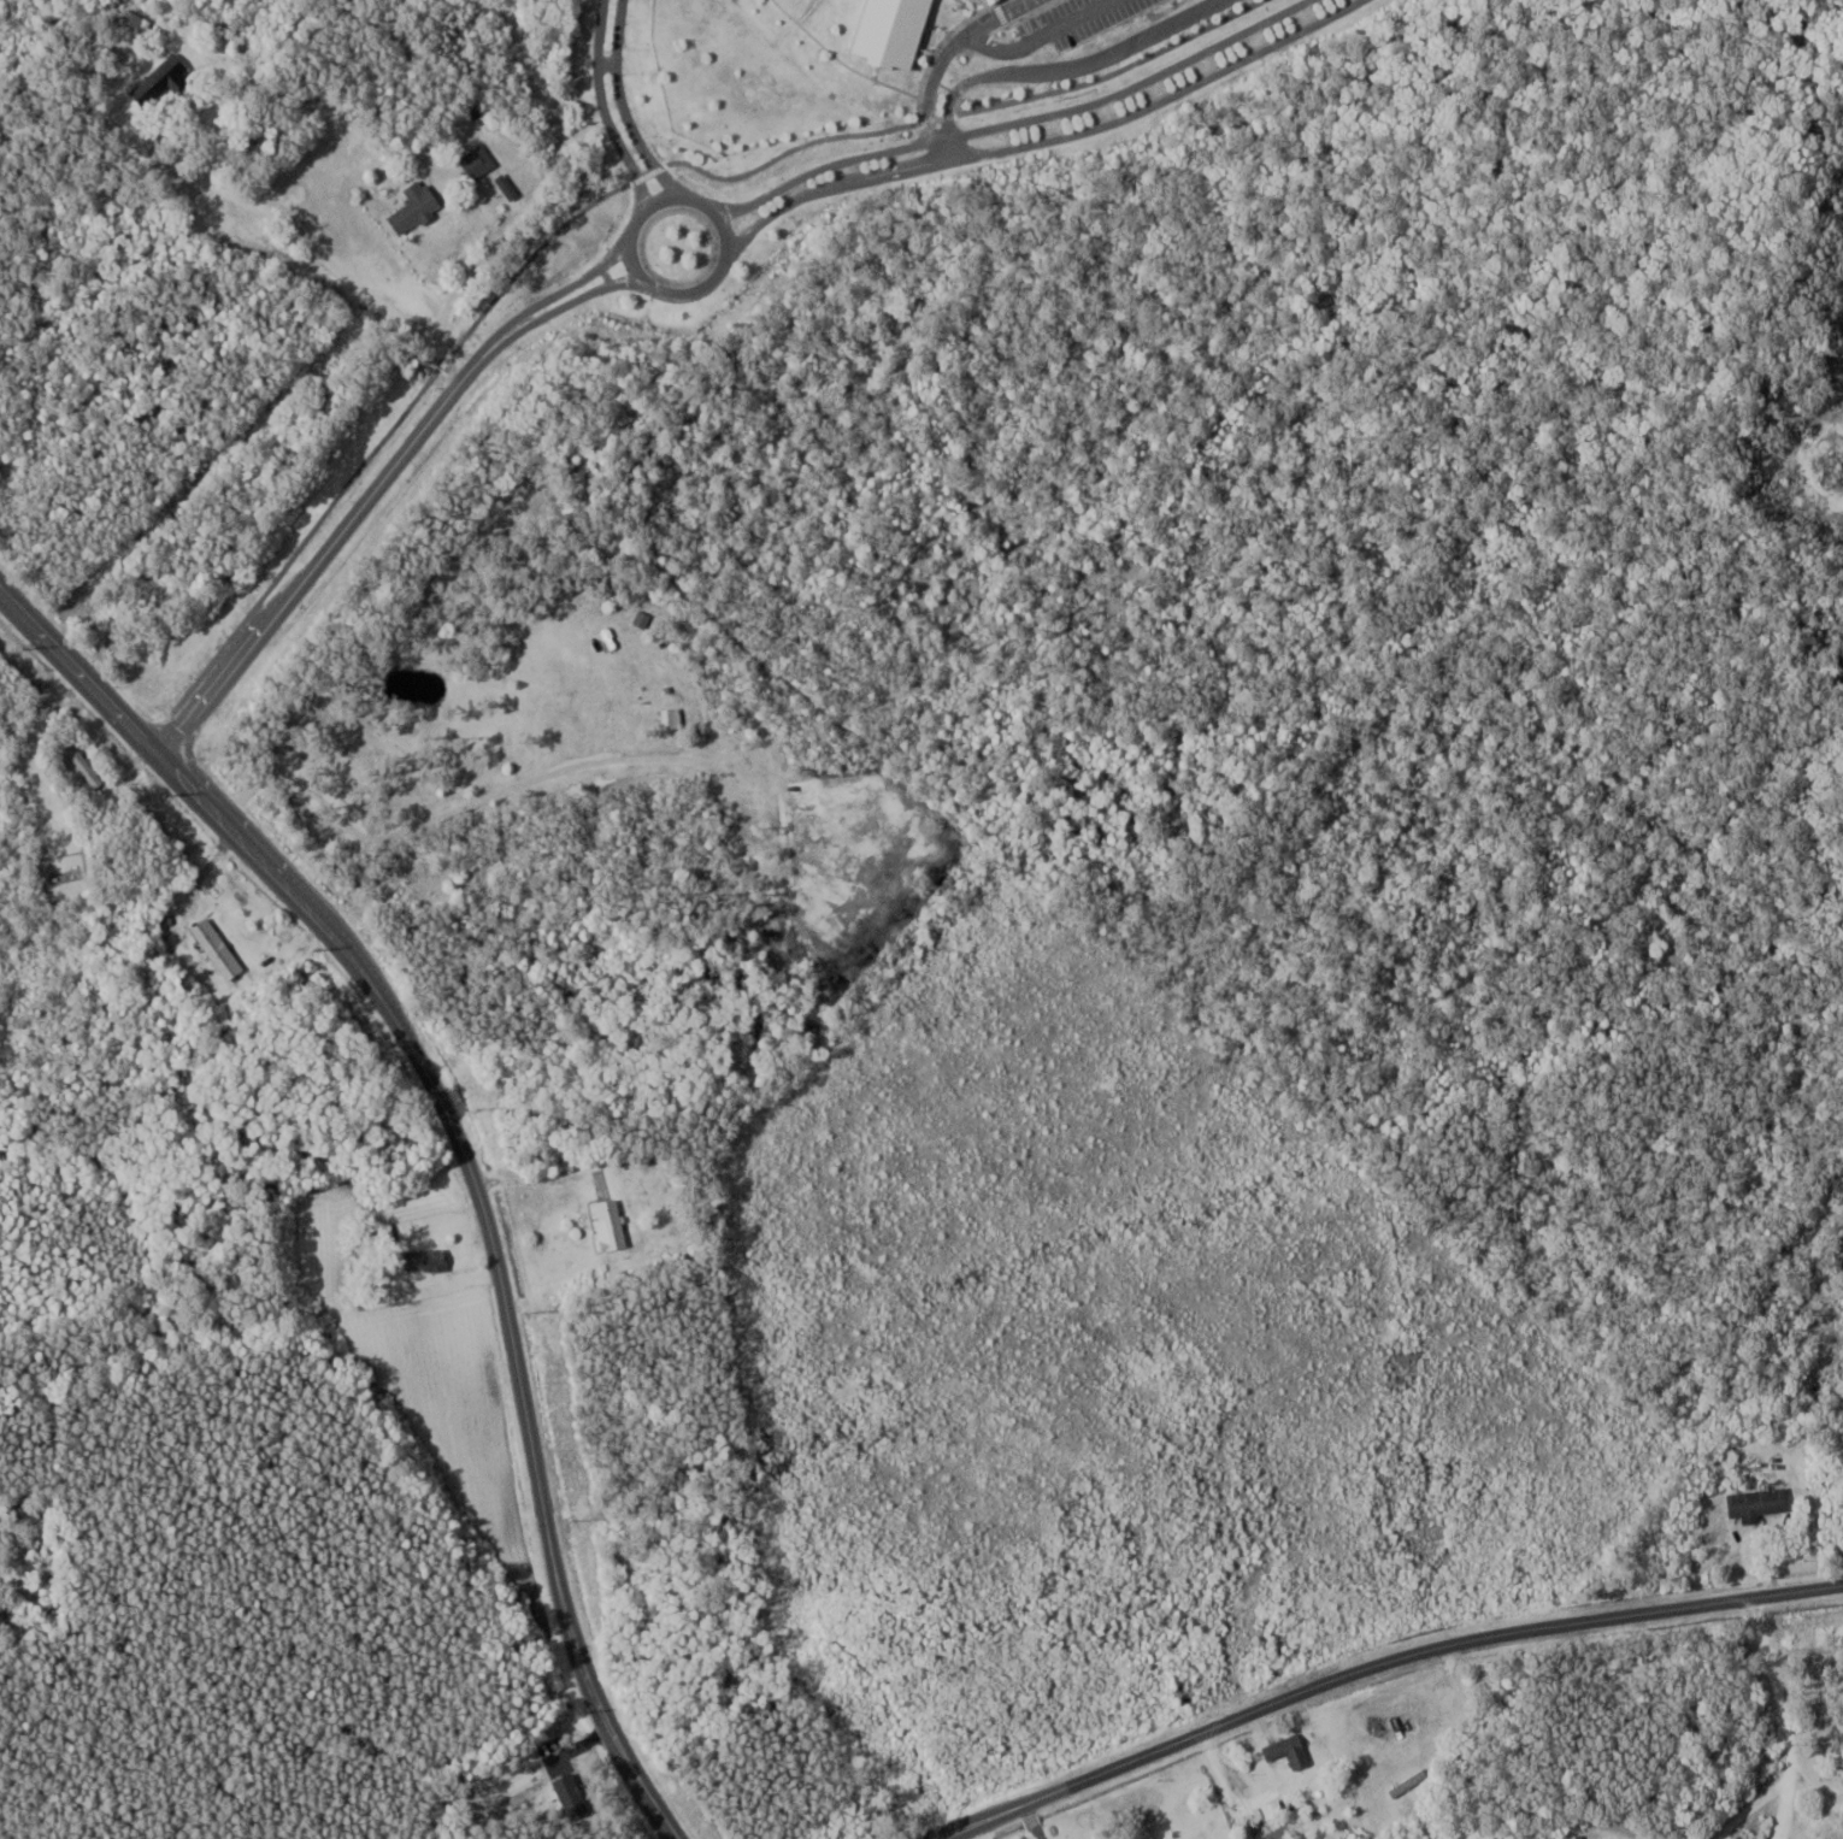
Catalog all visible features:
building: (996, 1)
parking lot: (1081, 19)
building: (894, 31)
road: (987, 45)
road: (1059, 73)
building: (160, 81)
road: (600, 113)
road: (619, 116)
road: (1005, 124)
road: (1046, 142)
building: (478, 161)
road: (656, 166)
road: (700, 206)
building: (417, 207)
road: (324, 252)
road: (453, 281)
road: (420, 412)
road: (424, 424)
building: (643, 618)
road: (202, 692)
building: (86, 764)
building: (219, 948)
road: (460, 1149)
building: (612, 1224)
building: (428, 1260)
building: (1761, 1501)
road: (1379, 1663)
road: (1771, 1717)
building: (1291, 1751)
building: (1265, 1817)

